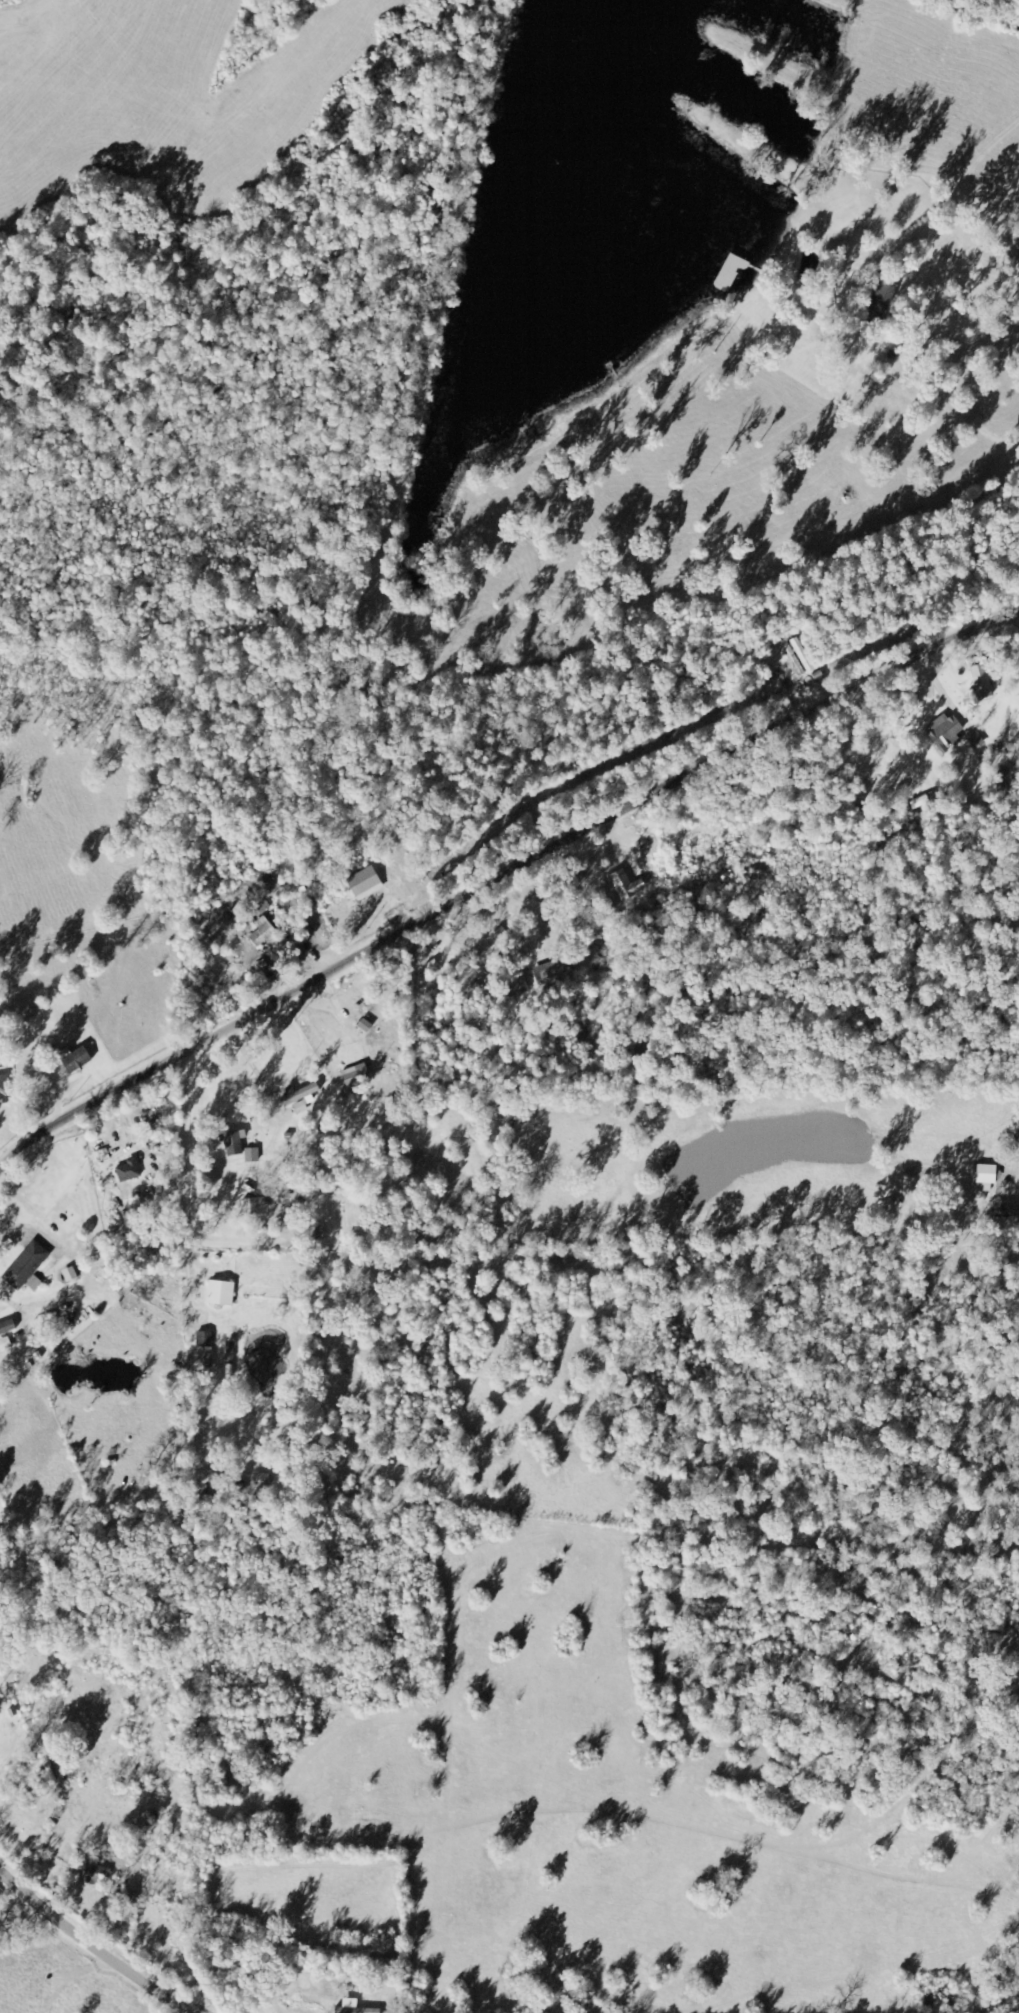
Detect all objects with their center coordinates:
building: (727, 273)
building: (877, 301)
road: (823, 449)
building: (800, 654)
building: (979, 682)
building: (943, 731)
road: (490, 855)
building: (363, 883)
building: (623, 885)
building: (260, 932)
building: (551, 972)
building: (514, 986)
building: (354, 1075)
building: (298, 1095)
building: (2, 1102)
road: (228, 1106)
building: (230, 1144)
building: (126, 1171)
building: (984, 1174)
building: (249, 1207)
building: (65, 1210)
road: (33, 1232)
building: (24, 1265)
building: (219, 1294)
building: (202, 1340)
building: (90, 1875)
road: (97, 1960)
building: (355, 2011)

